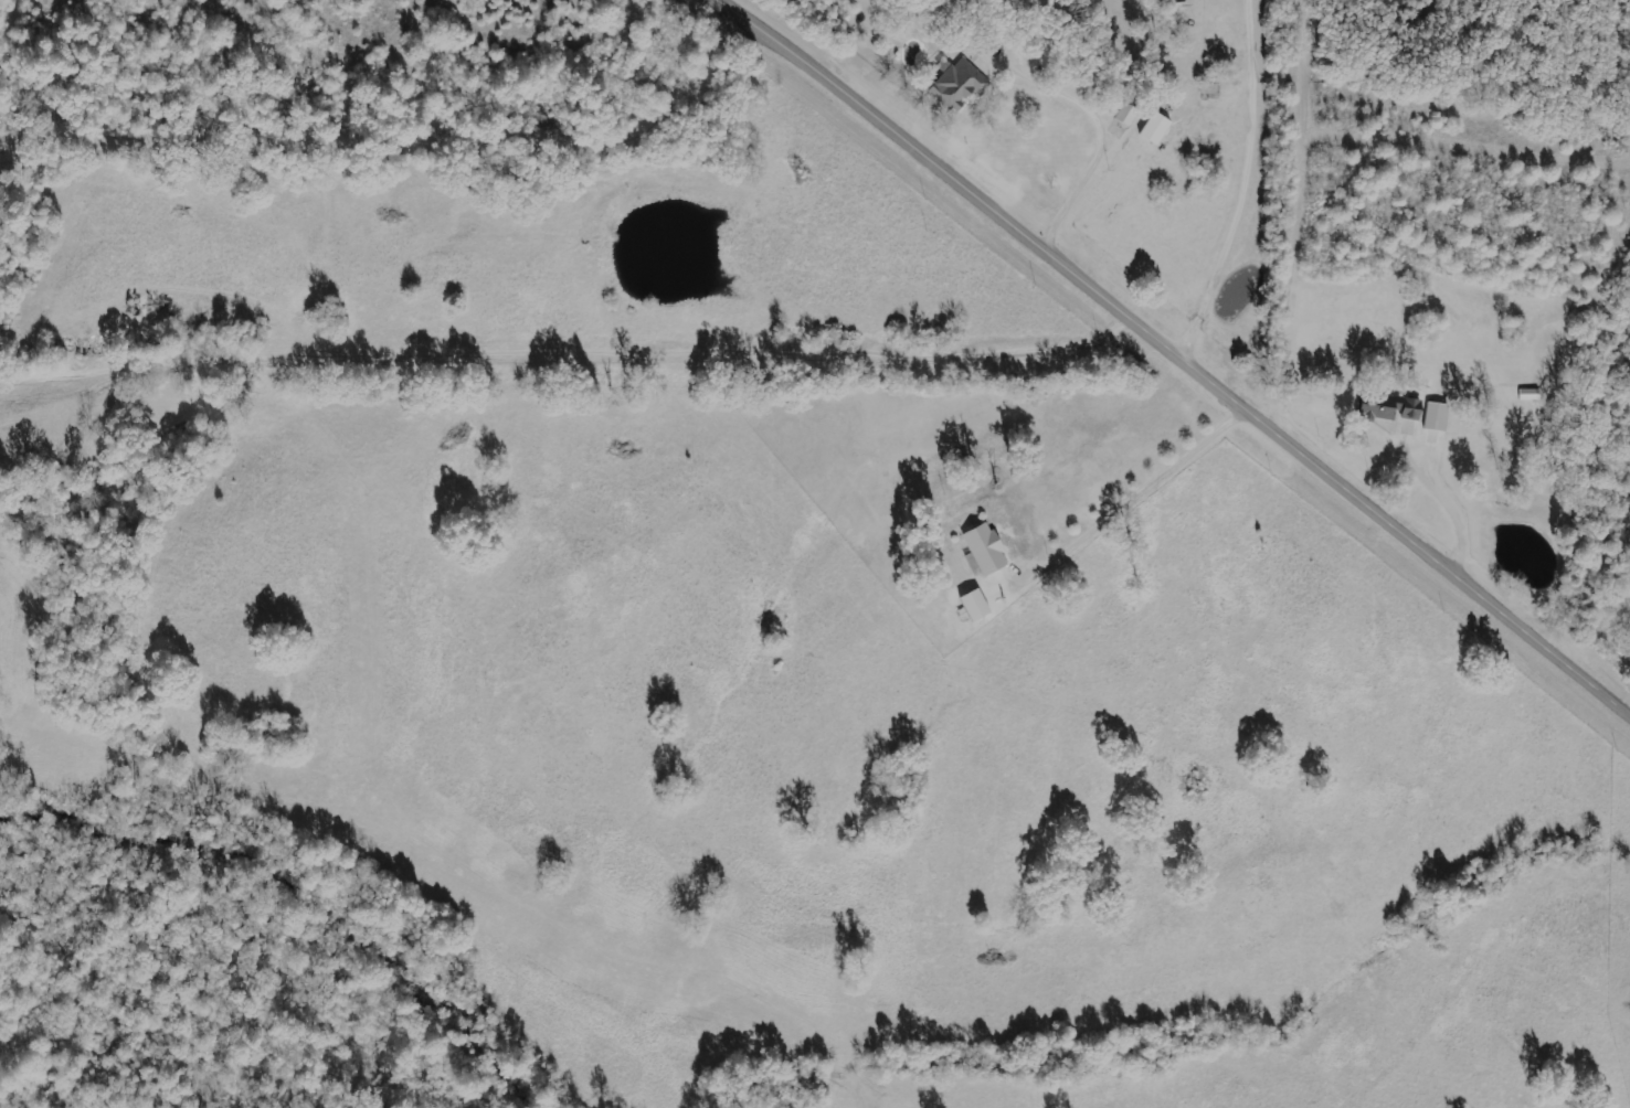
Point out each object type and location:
building: (959, 84)
building: (1125, 115)
building: (1154, 129)
road: (1175, 355)
road: (557, 360)
building: (1387, 407)
building: (1436, 416)
road: (1131, 496)
building: (984, 548)
building: (974, 605)

